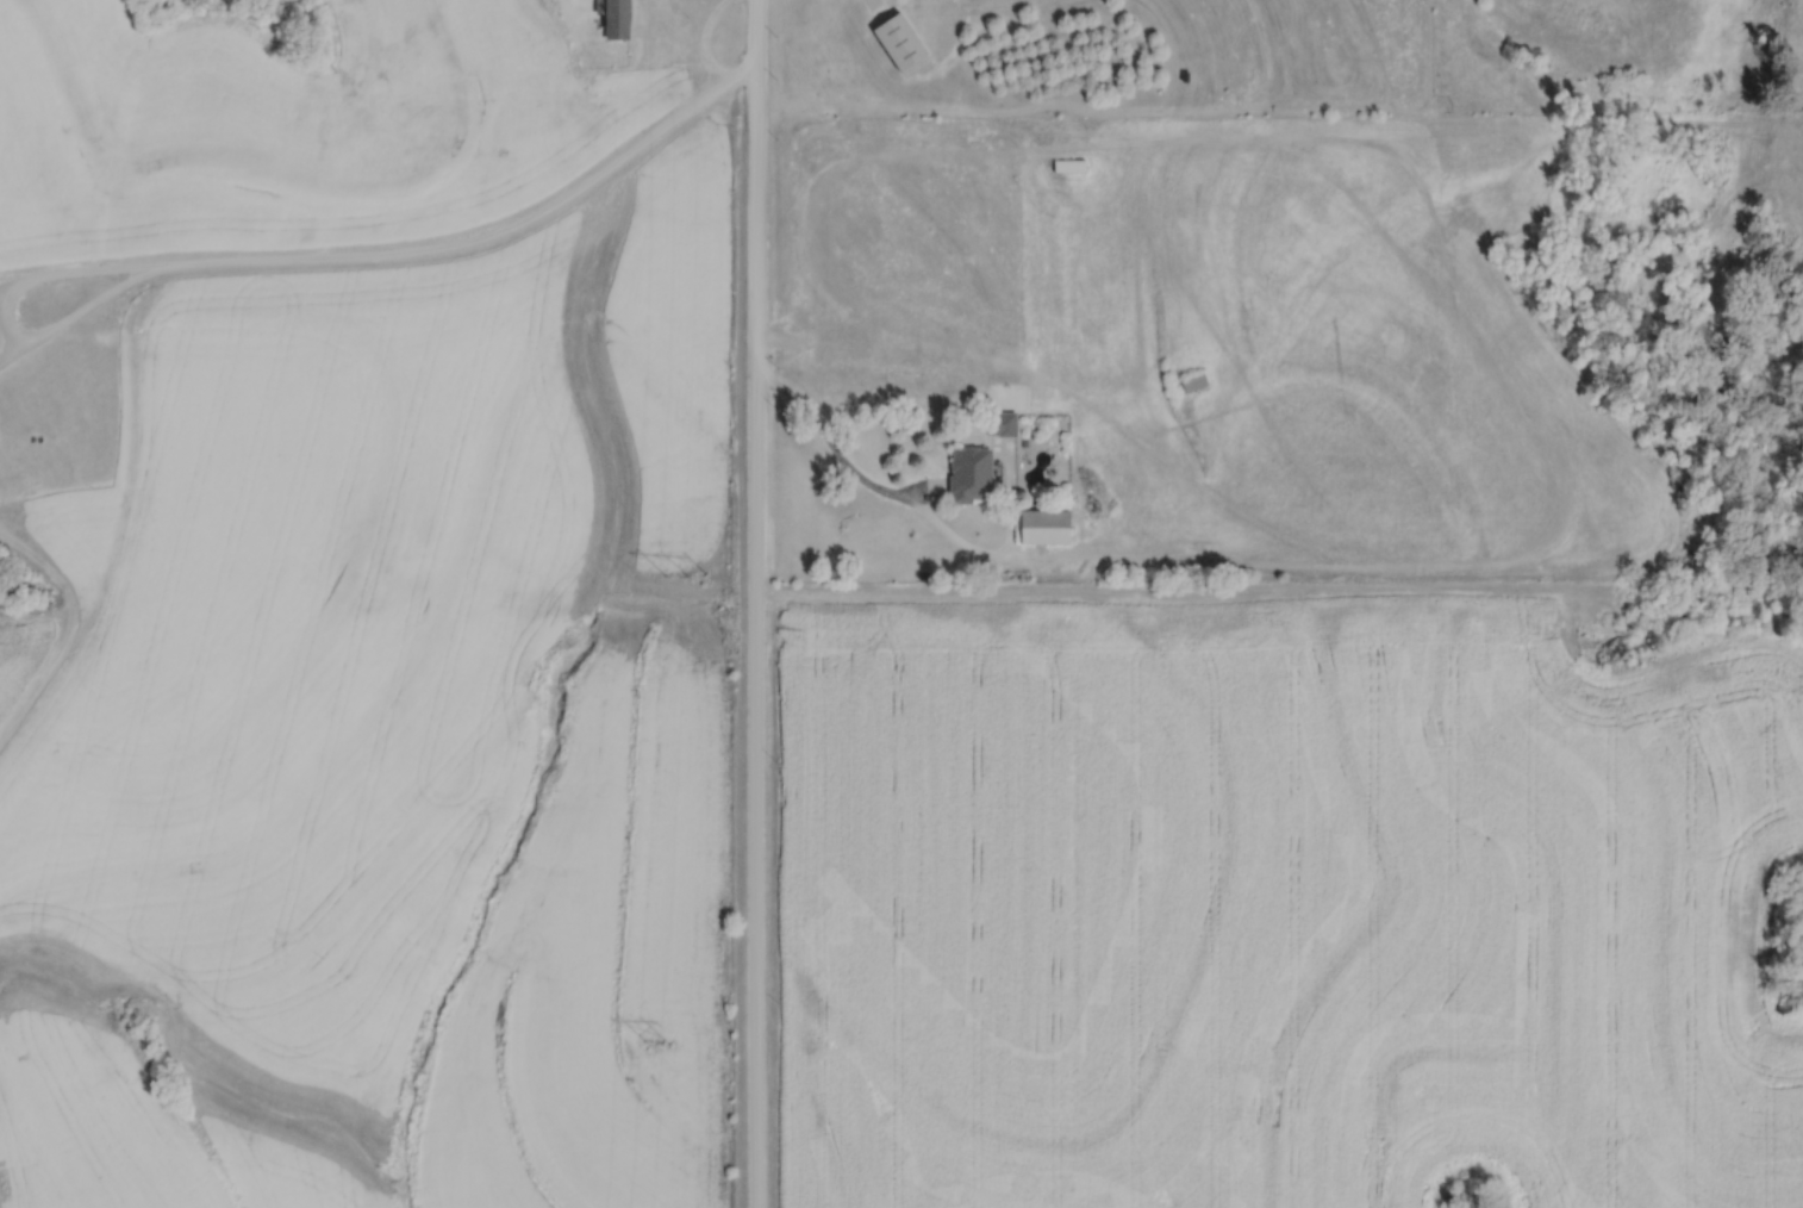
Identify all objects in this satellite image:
building: (613, 19)
building: (1067, 164)
road: (375, 255)
road: (81, 273)
building: (1192, 381)
building: (999, 423)
road: (836, 450)
building: (967, 474)
building: (1041, 525)
power tower: (684, 572)
road: (754, 603)
power tower: (656, 1040)

